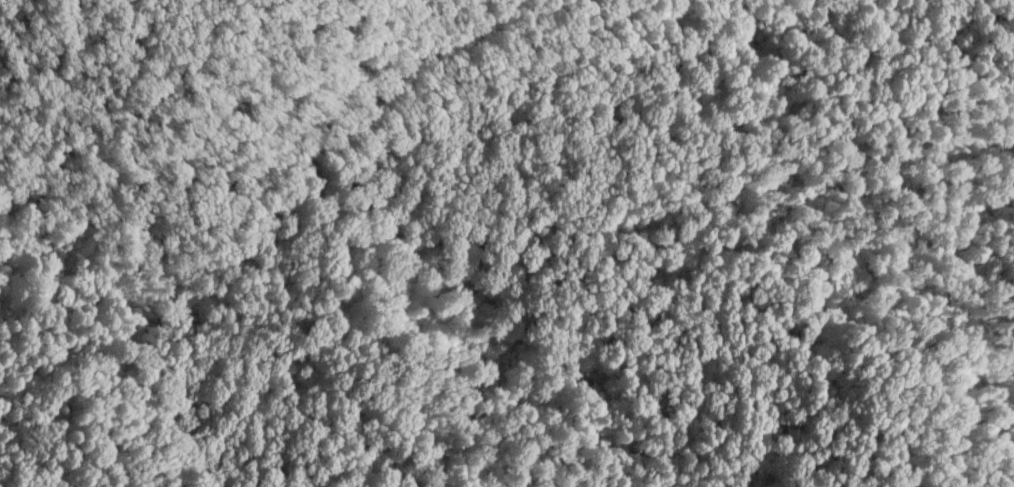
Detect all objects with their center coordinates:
road: (277, 168)

